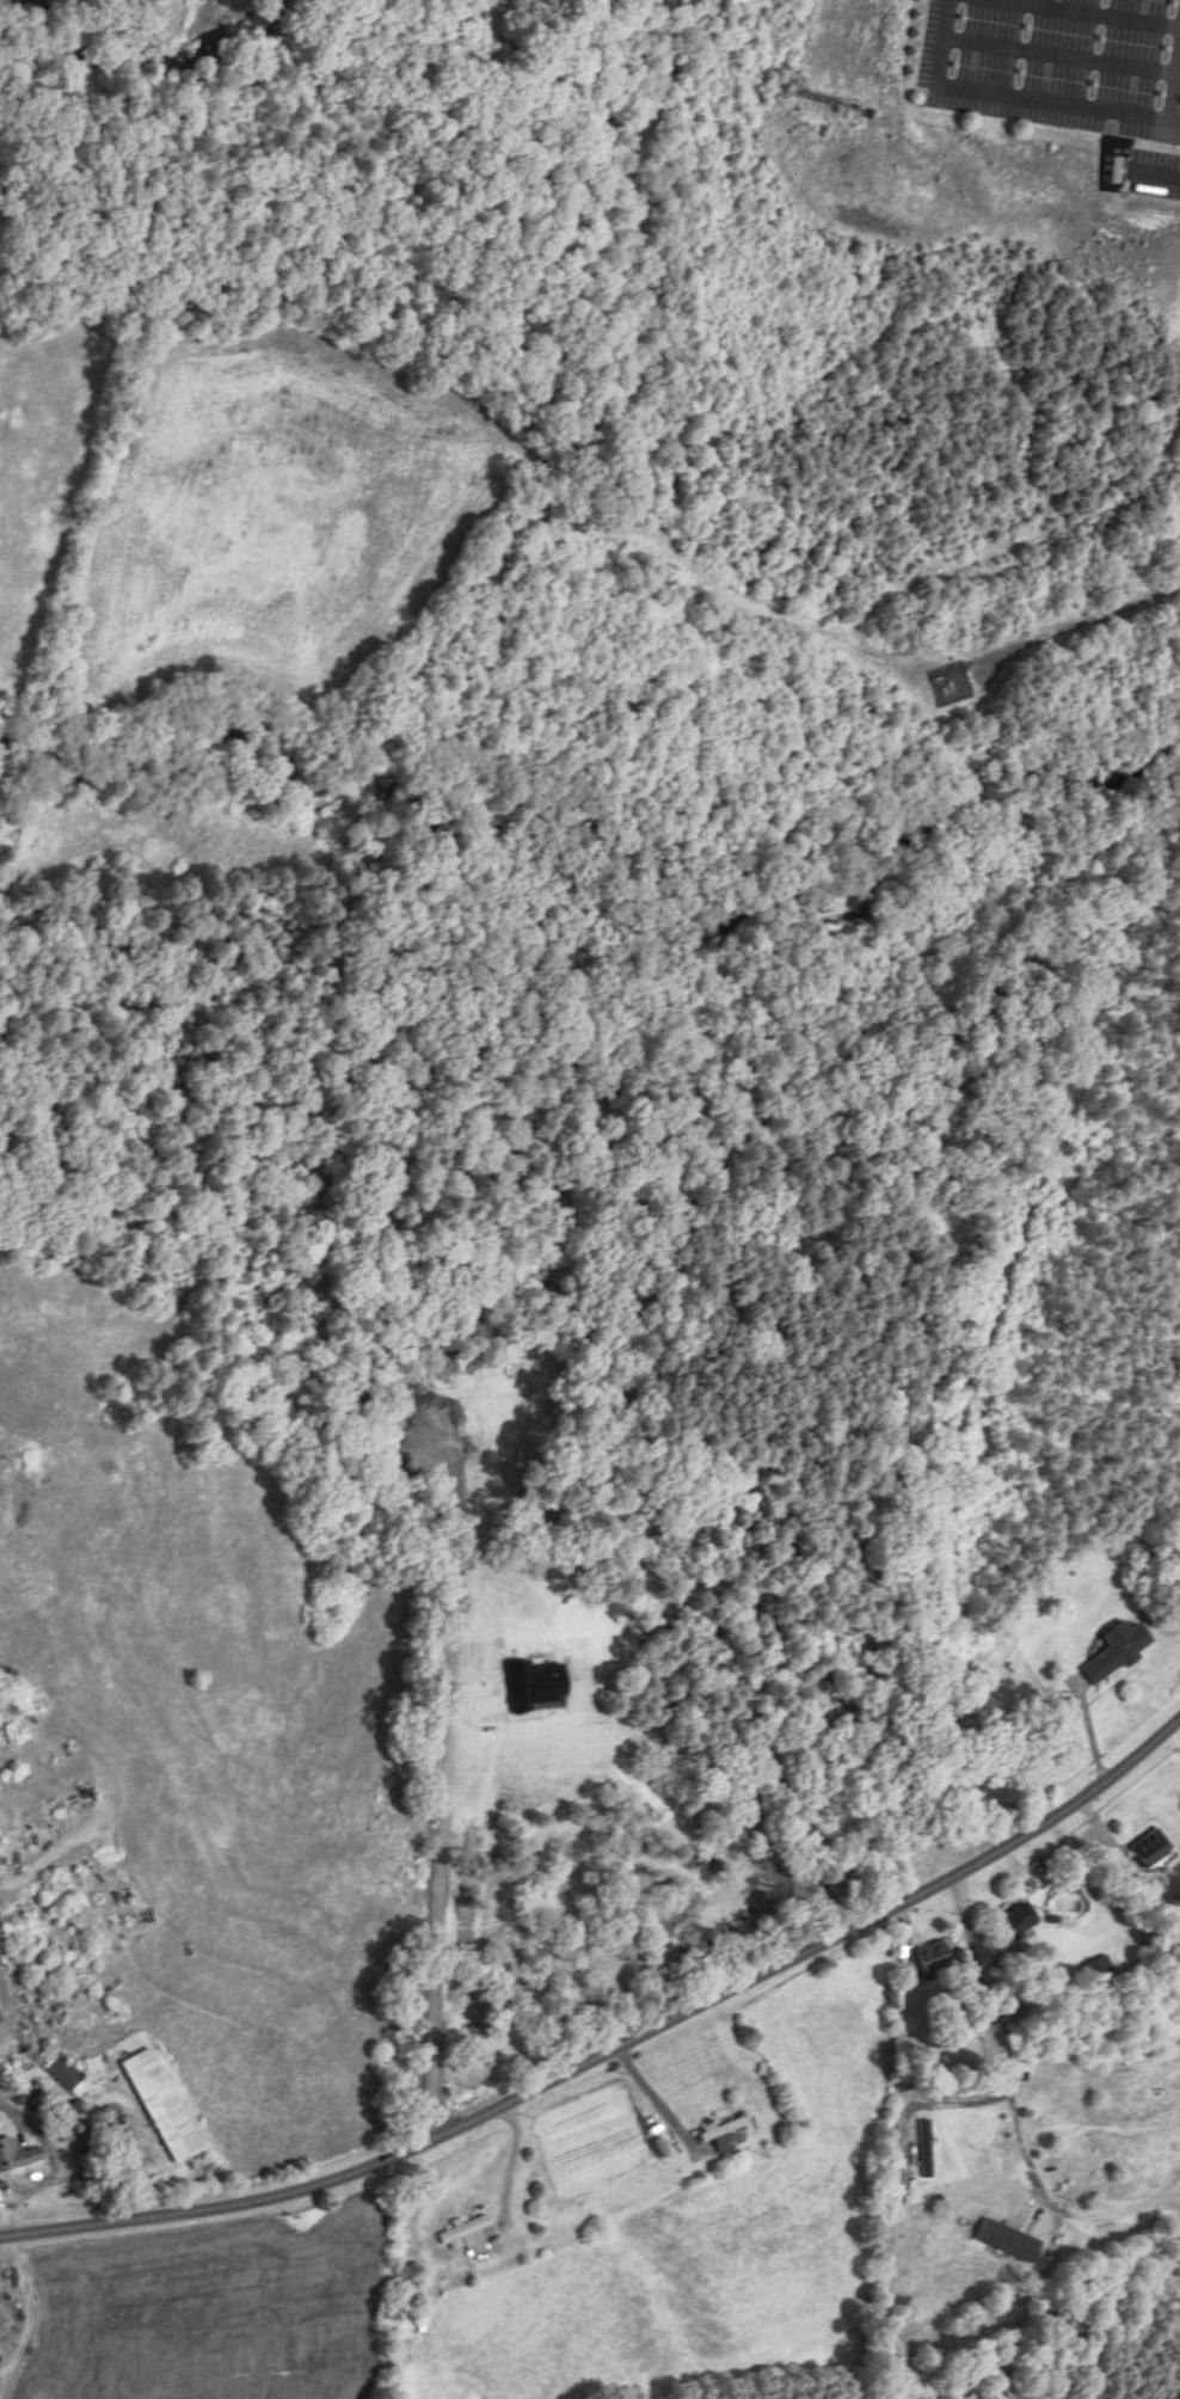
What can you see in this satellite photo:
road: (1040, 103)
building: (1114, 1651)
road: (484, 1708)
building: (1148, 1849)
building: (1015, 1920)
building: (929, 1957)
building: (1095, 1969)
building: (1, 2017)
road: (616, 2047)
building: (67, 2072)
road: (657, 2099)
building: (167, 2106)
road: (1021, 2109)
building: (721, 2130)
building: (924, 2148)
building: (19, 2156)
building: (469, 2237)
building: (424, 2318)

